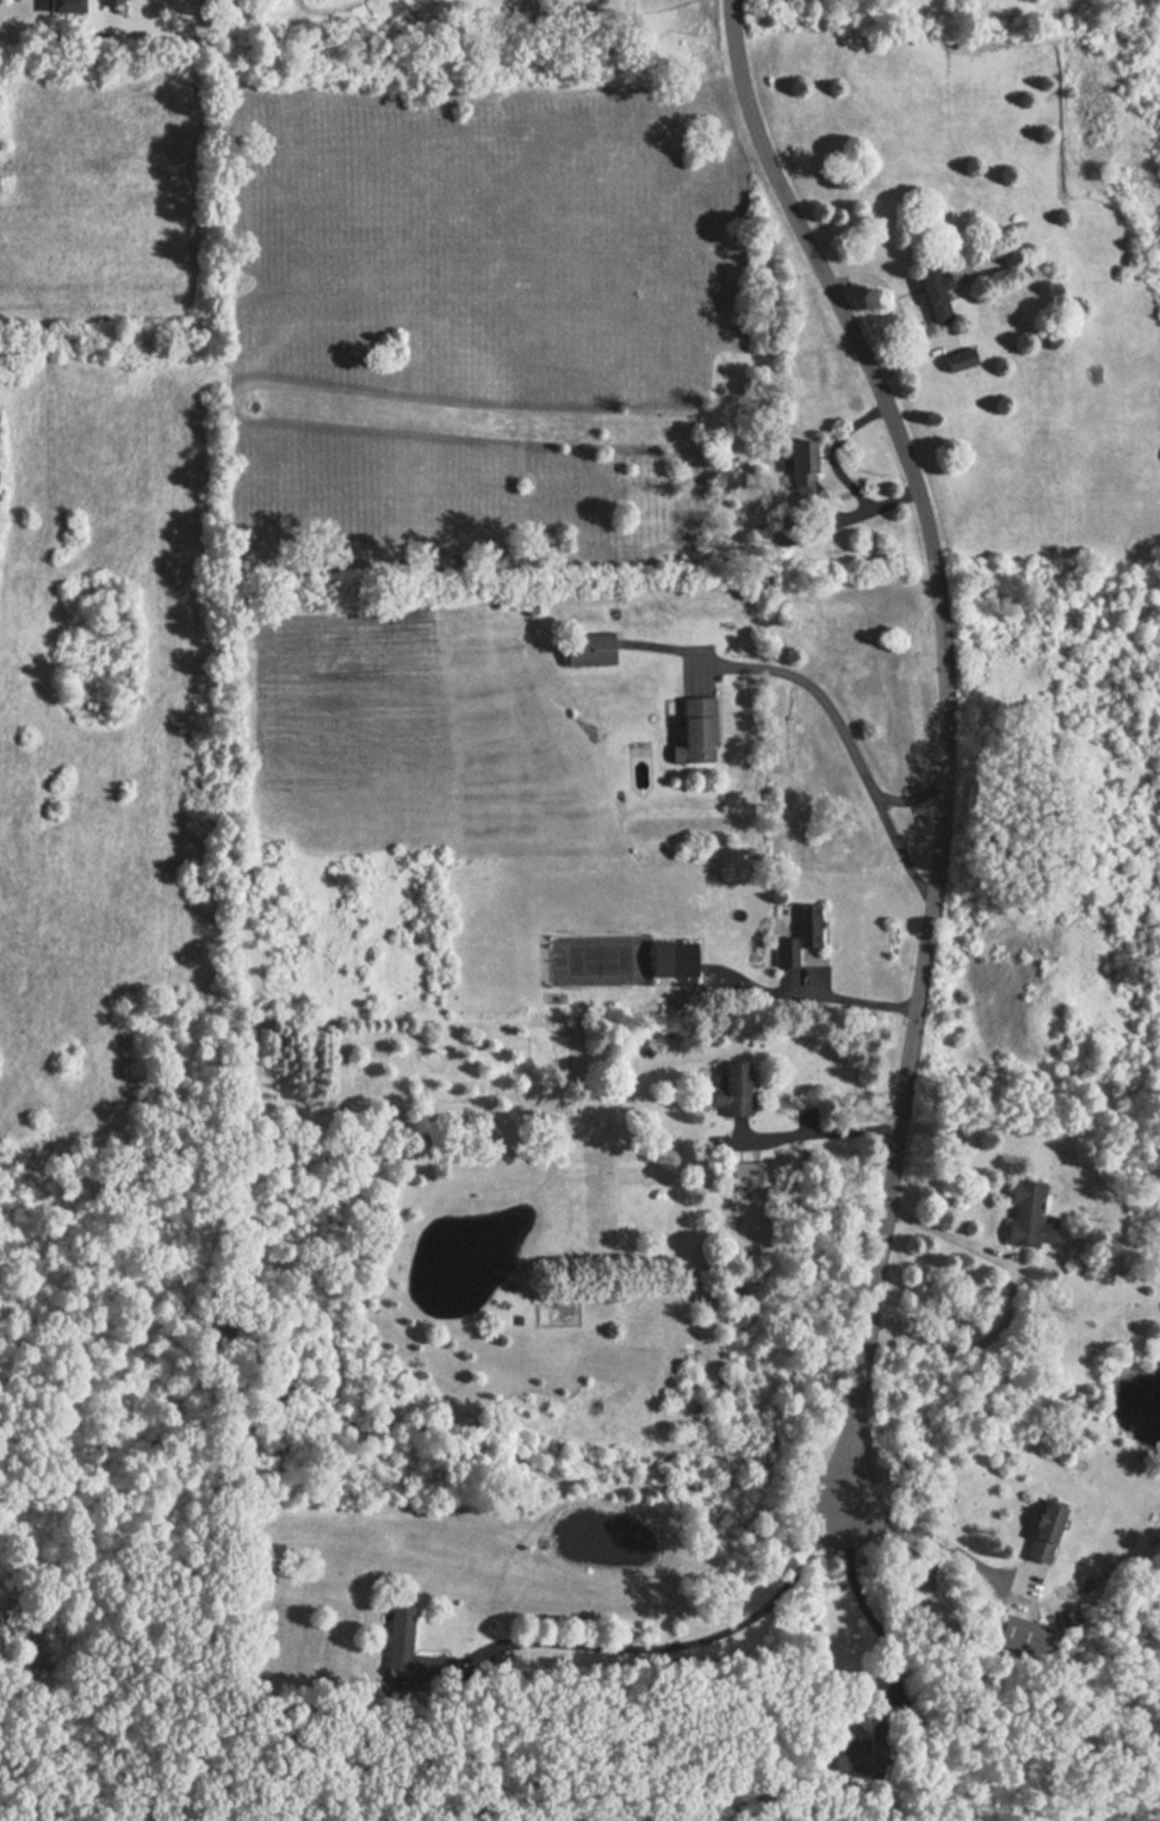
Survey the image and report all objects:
building: (107, 2)
building: (929, 287)
building: (798, 456)
building: (811, 494)
building: (584, 649)
building: (691, 731)
road: (951, 731)
road: (852, 747)
road: (911, 801)
building: (792, 934)
building: (669, 958)
road: (851, 1002)
building: (728, 1090)
road: (820, 1135)
building: (744, 1175)
building: (1023, 1215)
road: (1010, 1297)
building: (1041, 1530)
road: (926, 1535)
road: (860, 1586)
road: (690, 1645)
building: (398, 1653)

